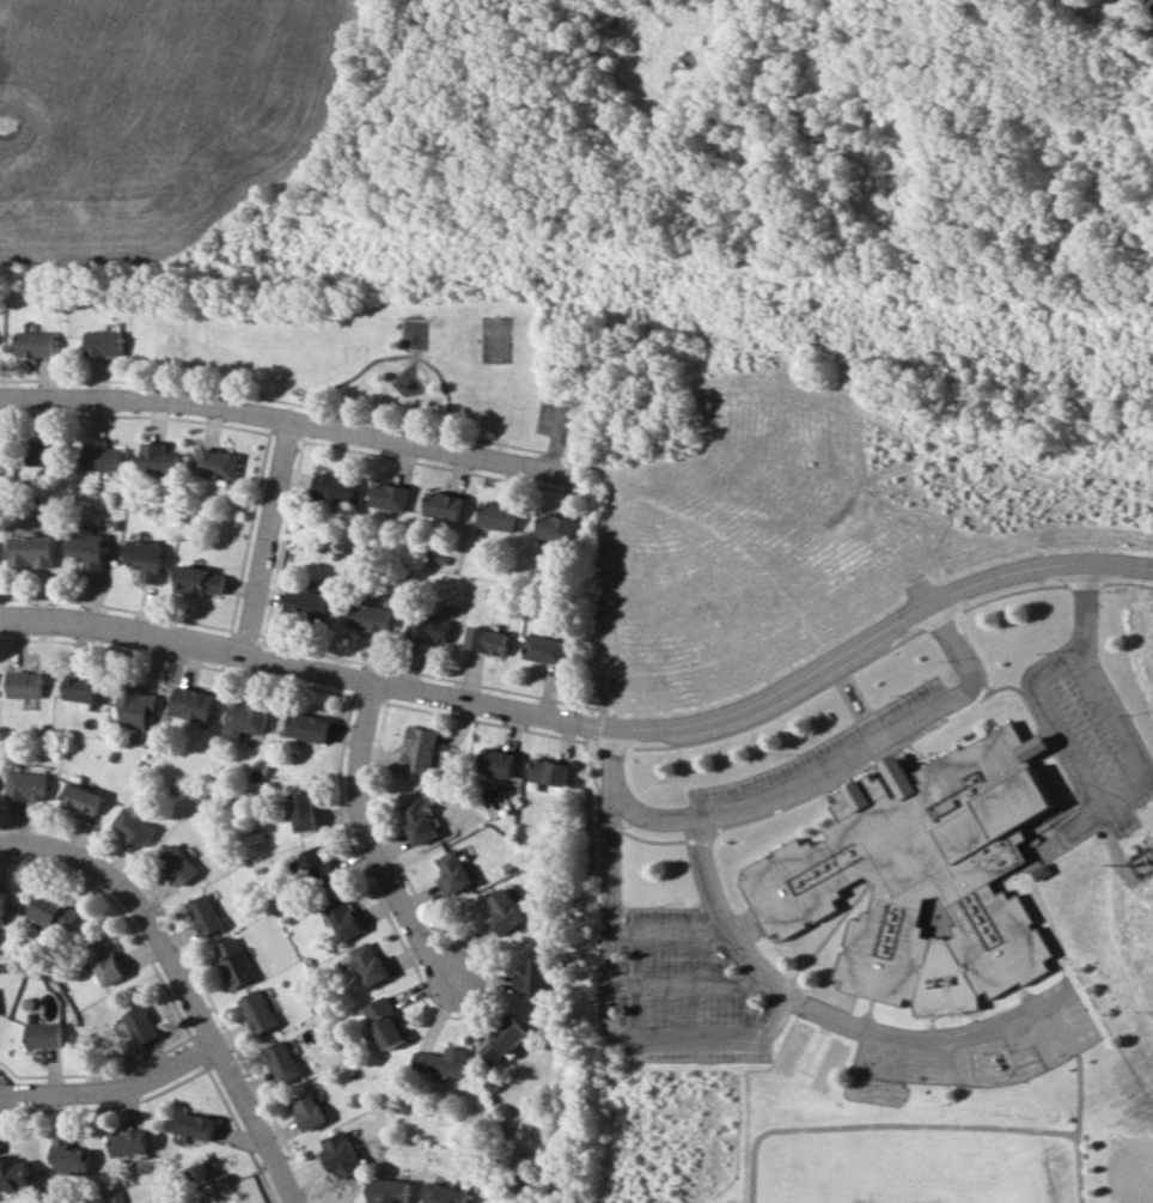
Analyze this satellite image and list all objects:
power tower: (225, 237)
power tower: (781, 310)
park: (495, 338)
building: (108, 342)
building: (38, 344)
park: (386, 353)
road: (399, 356)
road: (292, 402)
road: (291, 413)
parking lot: (553, 415)
road: (556, 433)
building: (48, 450)
building: (1, 451)
building: (104, 456)
building: (160, 460)
building: (218, 463)
building: (337, 486)
building: (391, 496)
road: (274, 505)
building: (445, 505)
building: (500, 516)
building: (556, 527)
building: (90, 548)
building: (32, 551)
building: (147, 559)
building: (201, 581)
building: (309, 603)
building: (376, 618)
road: (248, 624)
building: (433, 627)
building: (489, 640)
building: (548, 649)
building: (25, 683)
building: (85, 687)
building: (195, 703)
building: (136, 705)
building: (248, 718)
road: (590, 721)
building: (311, 727)
parking lot: (1094, 736)
road: (868, 739)
building: (422, 748)
building: (500, 761)
parking lot: (820, 762)
building: (553, 771)
road: (1081, 780)
building: (28, 785)
building: (83, 798)
building: (306, 810)
building: (422, 820)
building: (135, 826)
road: (374, 849)
building: (178, 863)
building: (457, 870)
building: (921, 877)
building: (330, 889)
building: (5, 907)
building: (508, 911)
building: (55, 912)
building: (206, 915)
road: (669, 935)
building: (104, 961)
building: (234, 962)
building: (372, 965)
building: (541, 974)
road: (181, 982)
parking lot: (684, 990)
building: (261, 1010)
building: (389, 1022)
building: (141, 1025)
road: (701, 1033)
building: (44, 1035)
building: (507, 1040)
building: (285, 1061)
building: (446, 1062)
road: (112, 1086)
building: (310, 1111)
building: (197, 1125)
building: (130, 1142)
building: (343, 1154)
building: (71, 1156)
park: (1130, 1167)
building: (14, 1173)
building: (390, 1191)
building: (447, 1193)

